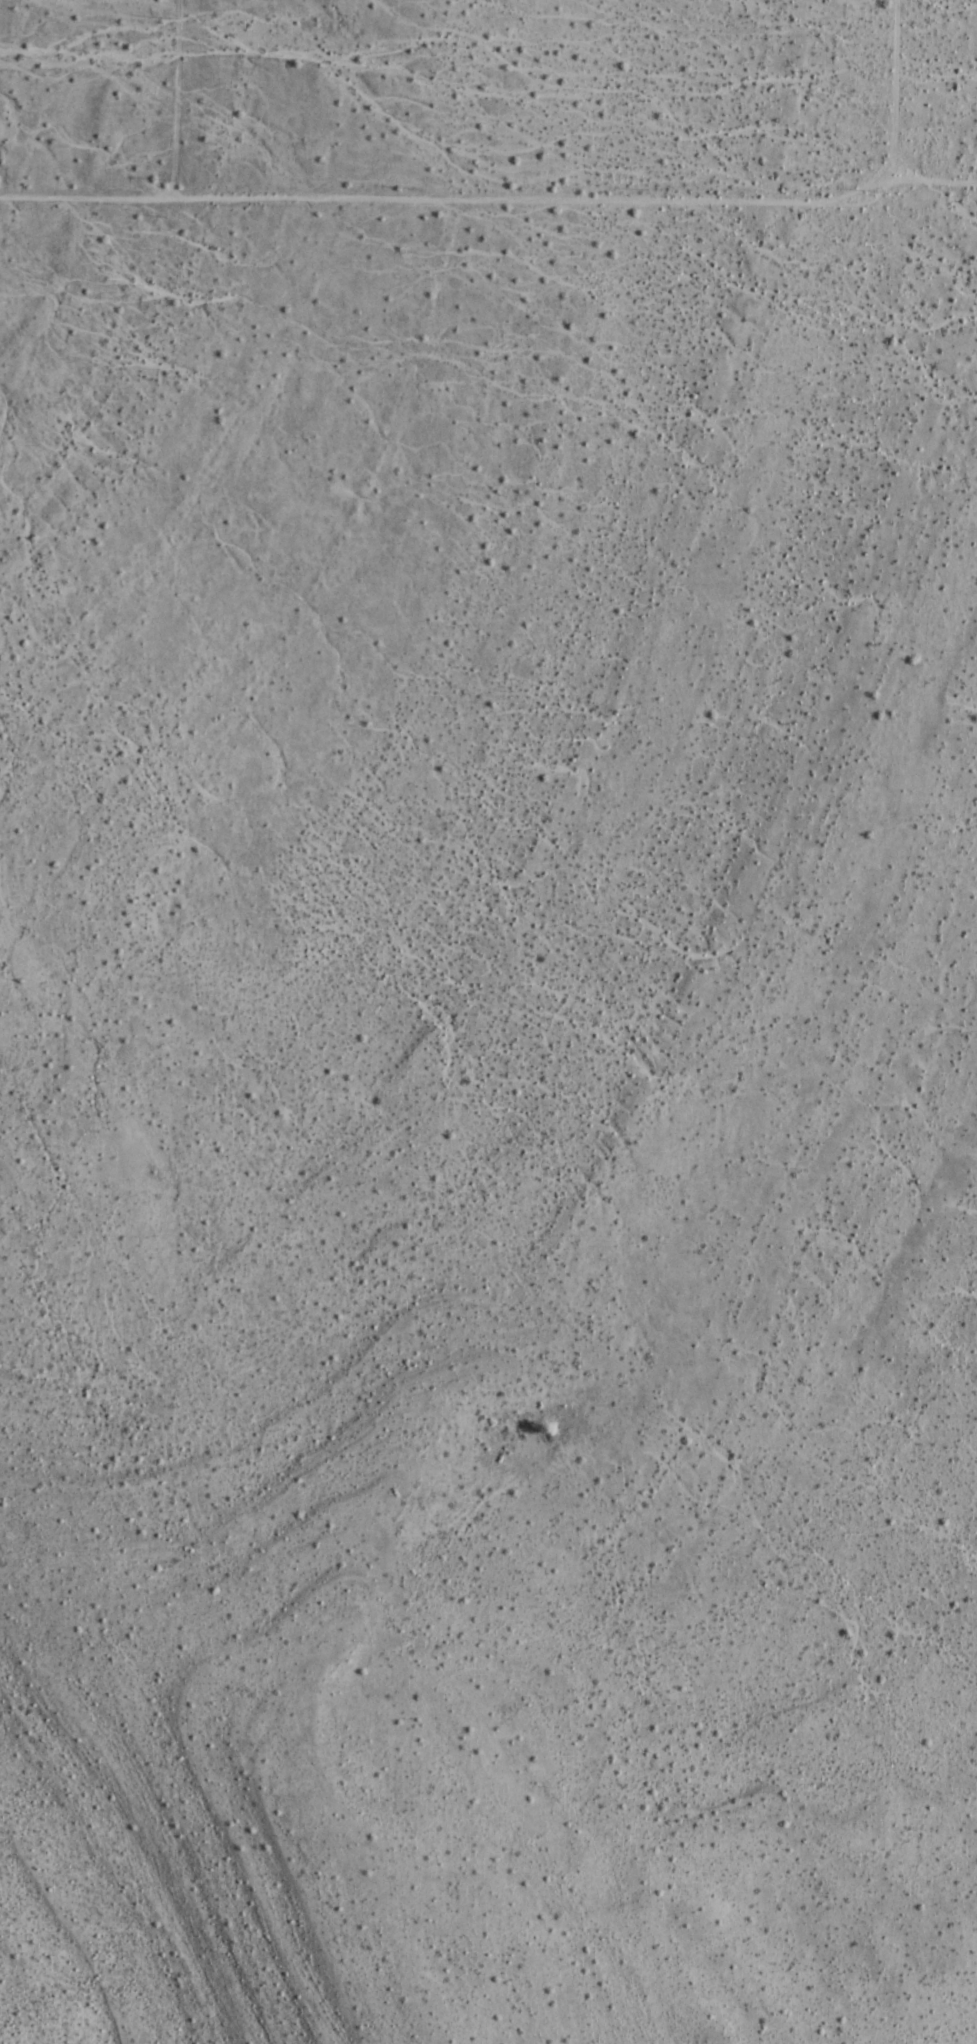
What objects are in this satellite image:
road: (891, 77)

